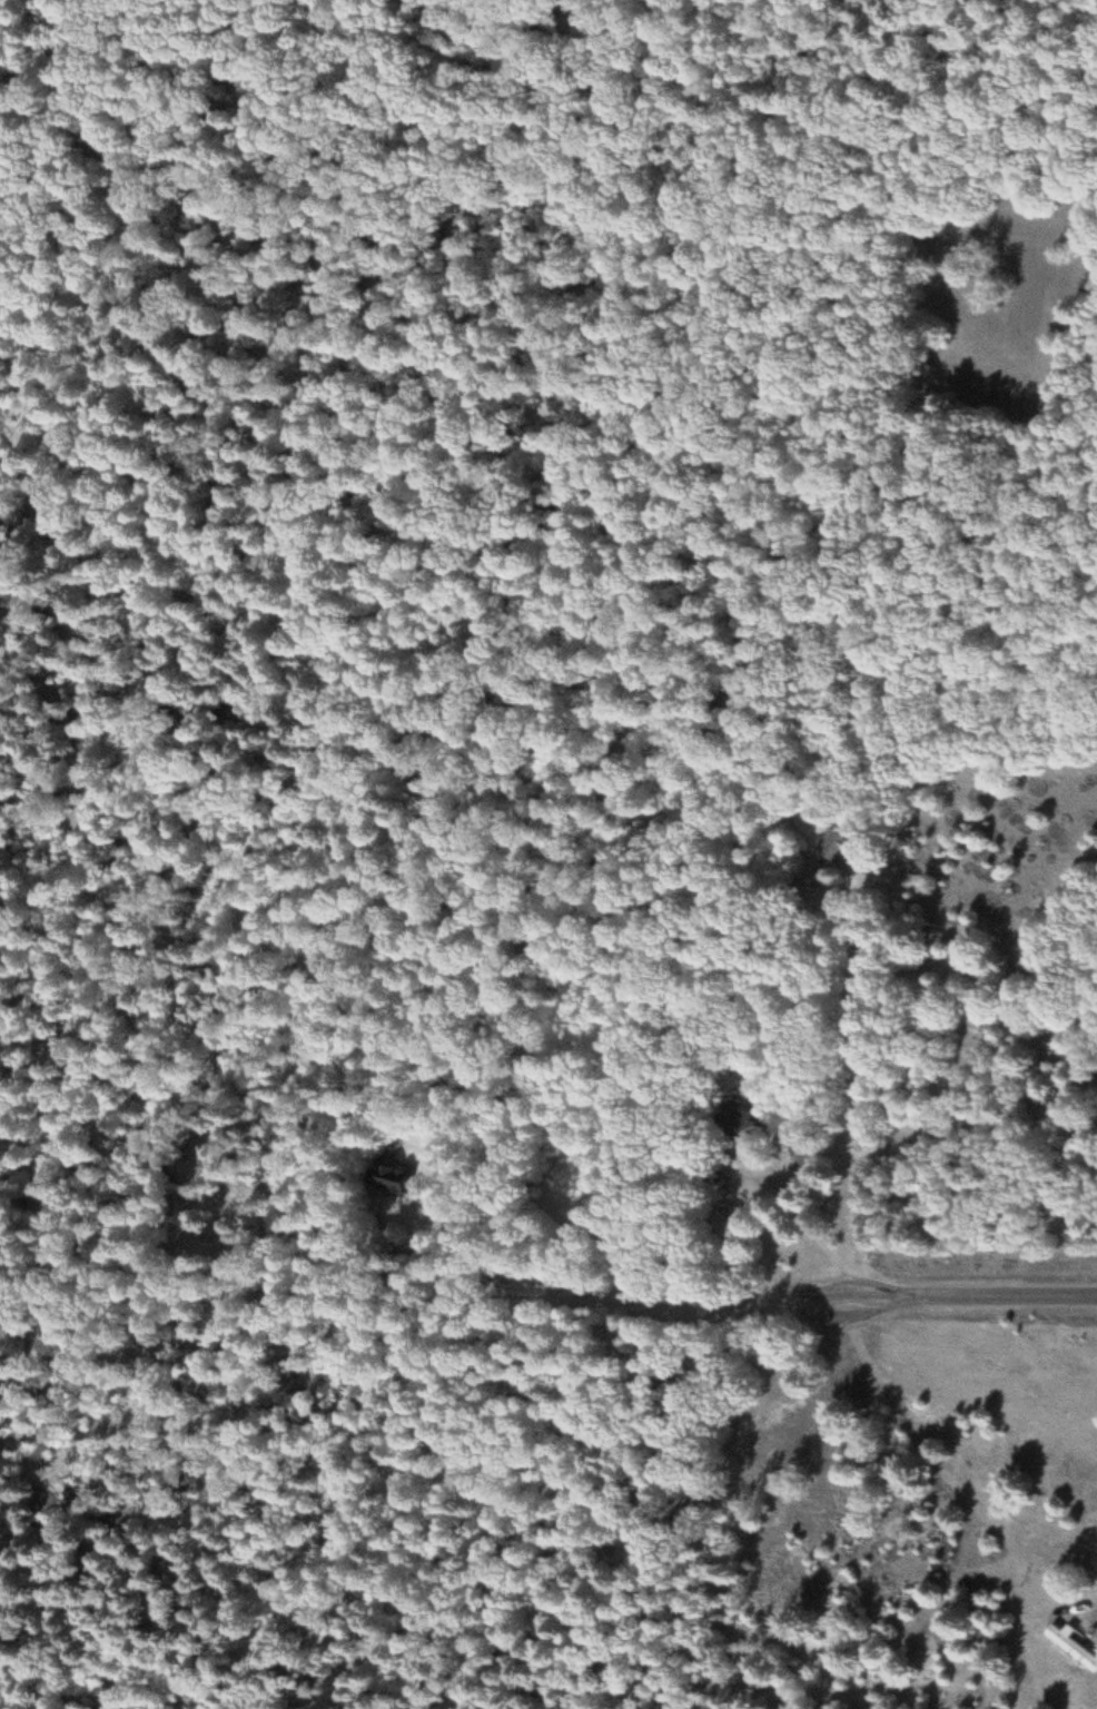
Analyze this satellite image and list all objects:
road: (6, 1)
building: (842, 847)
building: (749, 1127)
building: (808, 1152)
road: (965, 1301)
road: (416, 1302)
building: (1074, 1647)

